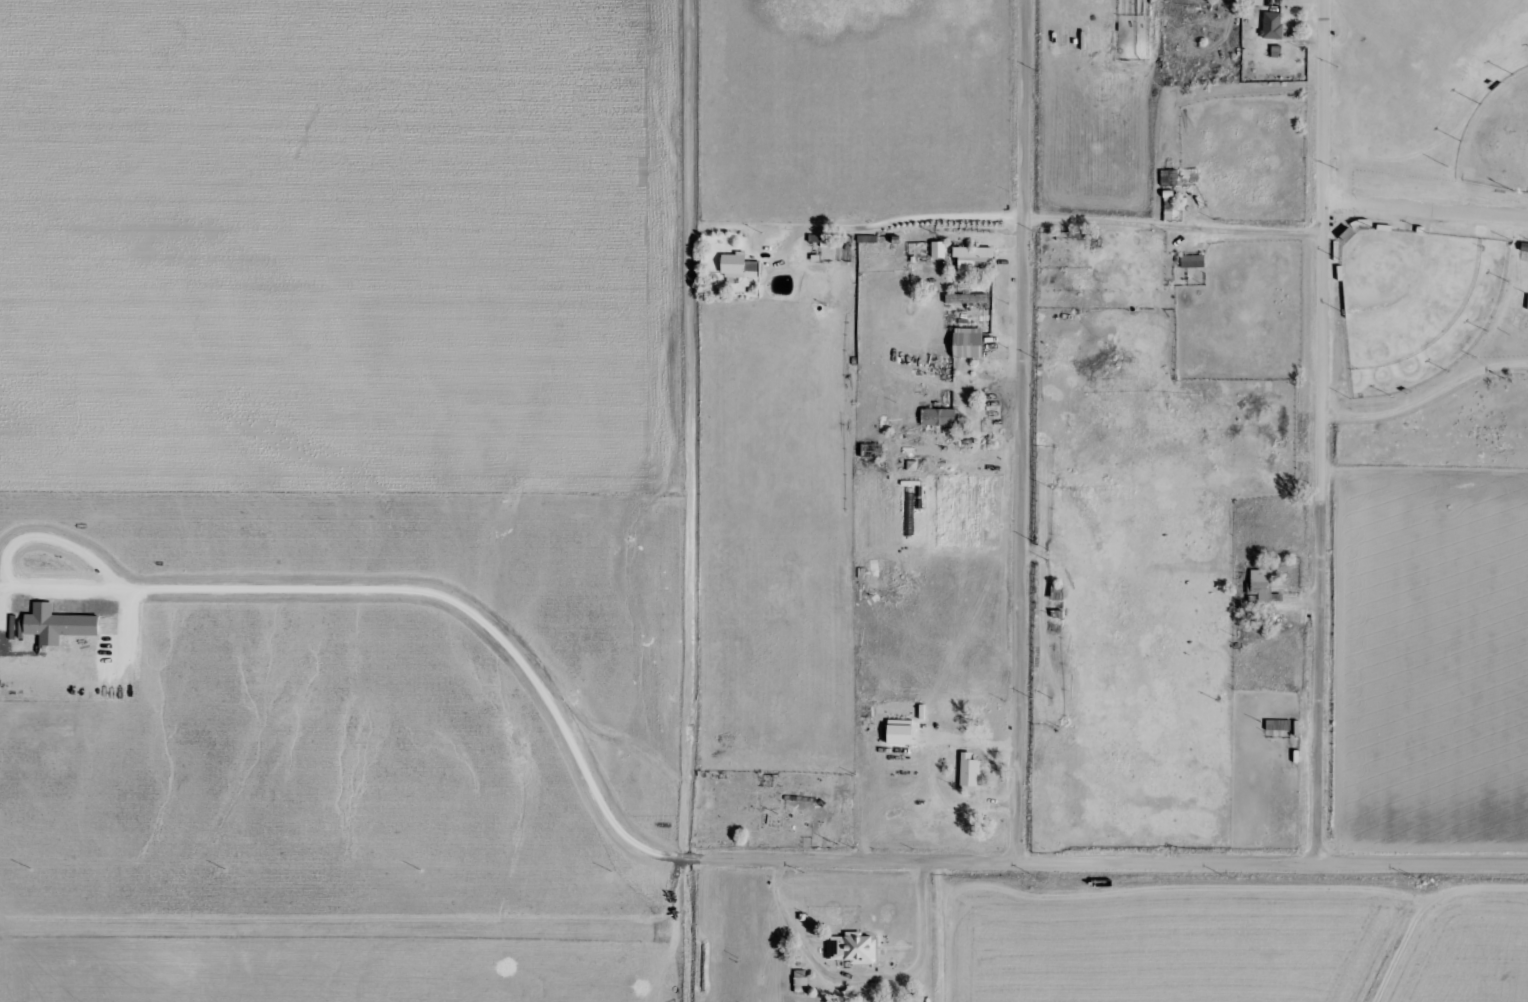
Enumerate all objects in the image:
building: (1272, 25)
park: (1501, 143)
building: (1169, 178)
park: (1429, 195)
road: (1424, 215)
road: (859, 221)
road: (1173, 228)
building: (939, 249)
building: (972, 257)
building: (739, 266)
building: (967, 298)
building: (1527, 308)
park: (1418, 311)
building: (969, 343)
road: (1427, 398)
building: (939, 417)
road: (1021, 429)
road: (1321, 431)
road: (670, 546)
building: (1261, 585)
building: (59, 624)
building: (1278, 724)
building: (969, 770)
road: (1098, 860)
building: (853, 948)

